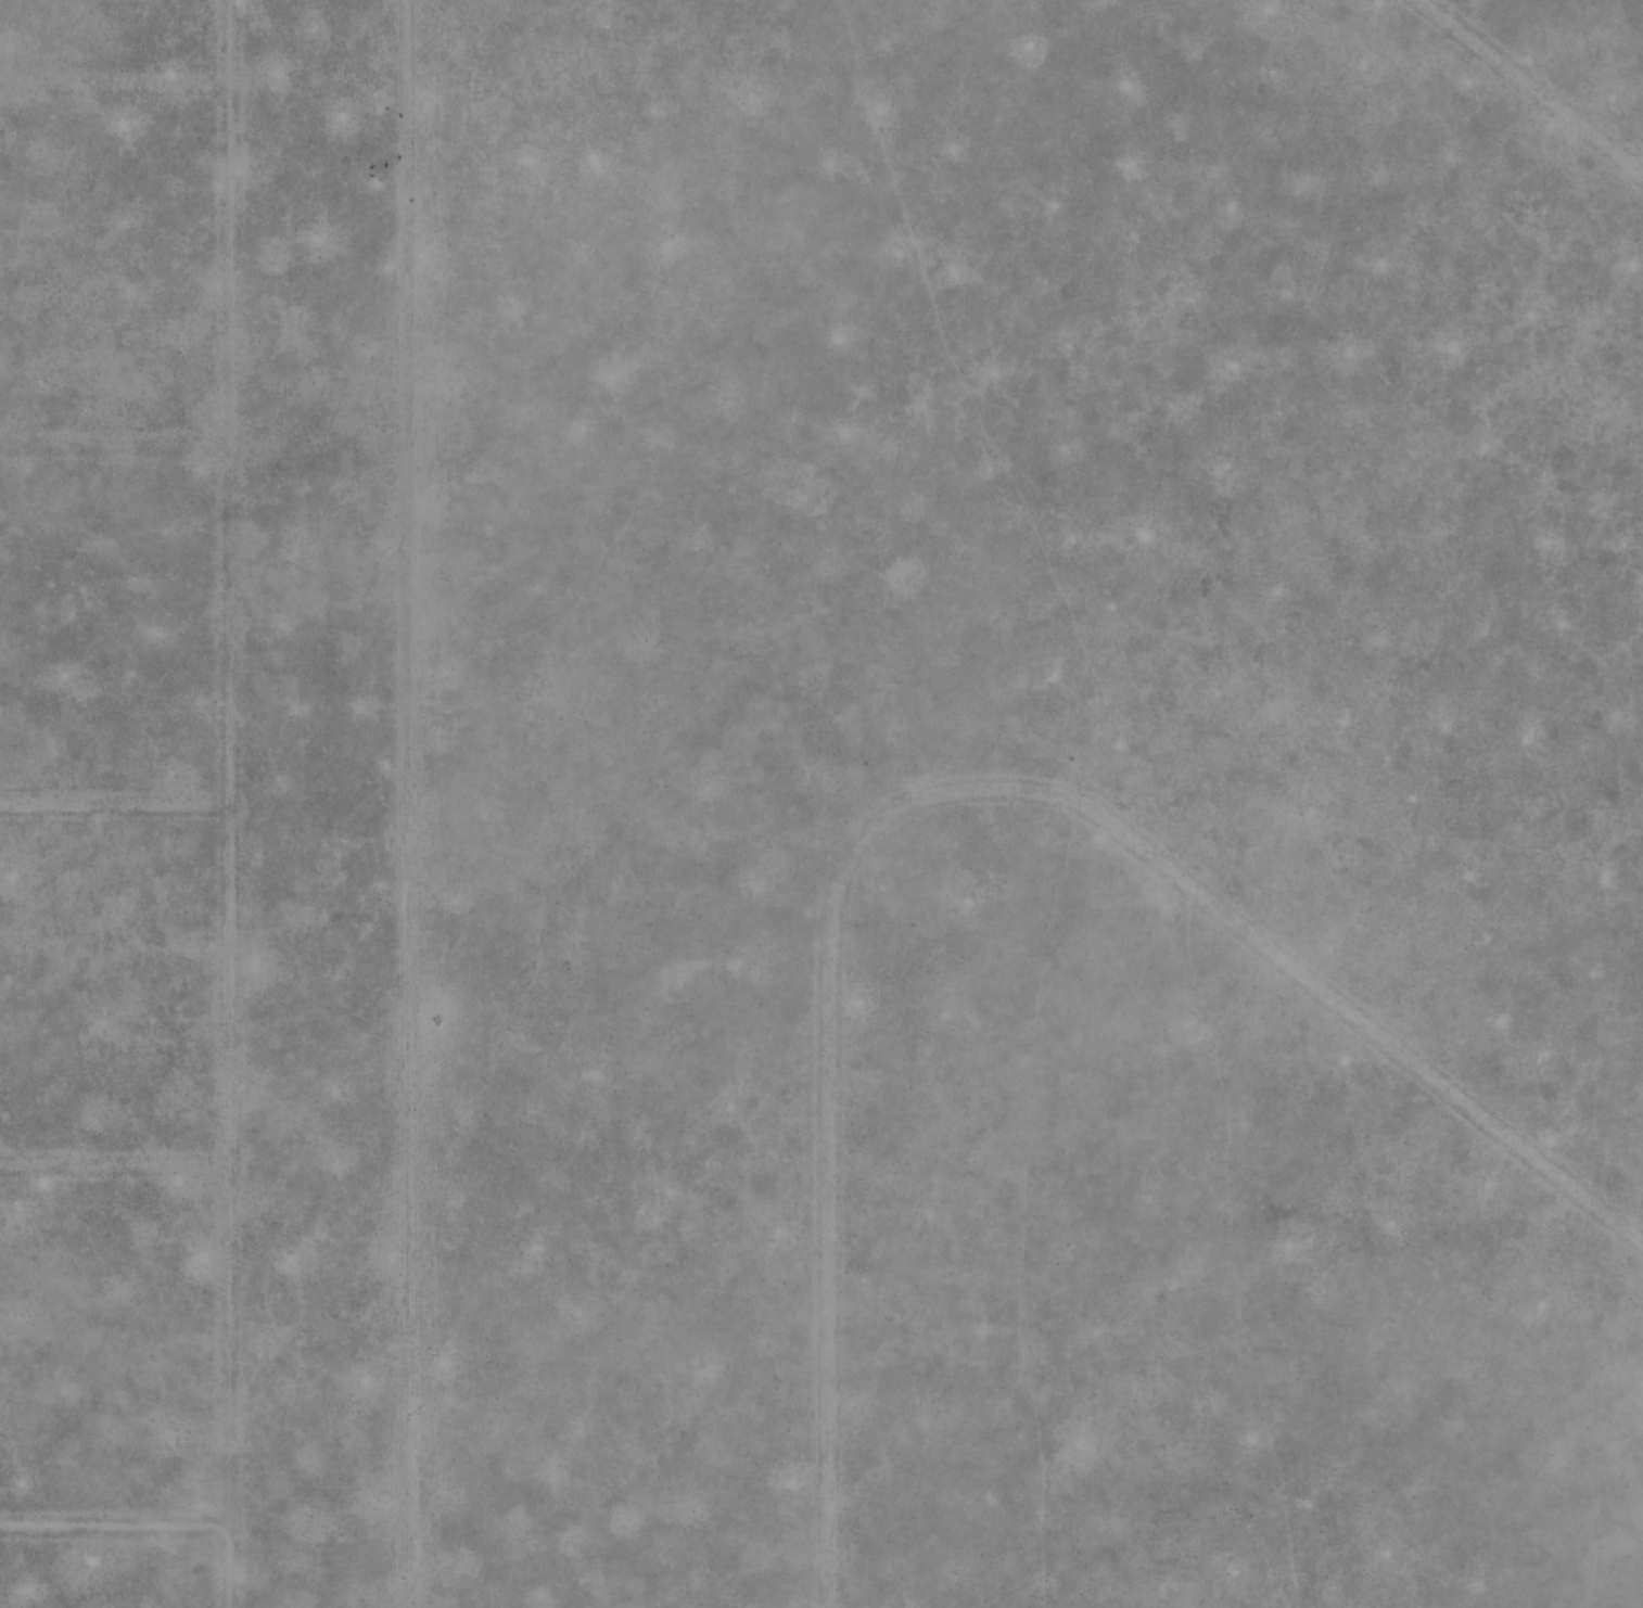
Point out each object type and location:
road: (413, 804)

